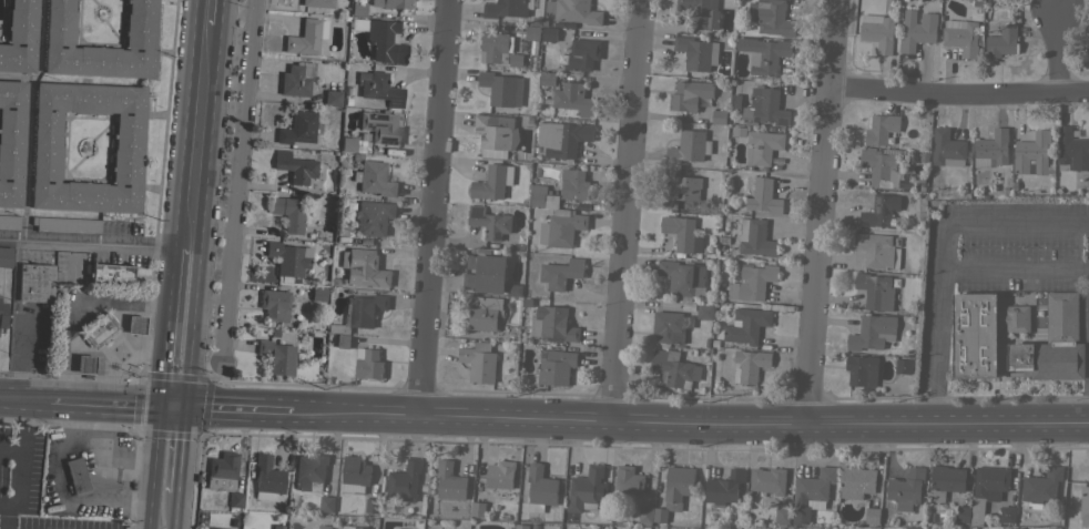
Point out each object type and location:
building: (317, 3)
building: (390, 3)
building: (506, 8)
building: (357, 9)
building: (572, 11)
road: (206, 12)
building: (701, 13)
building: (771, 17)
building: (917, 29)
building: (877, 31)
building: (531, 32)
building: (548, 33)
building: (19, 37)
building: (306, 37)
building: (961, 37)
building: (139, 39)
building: (381, 39)
building: (1000, 41)
building: (495, 47)
building: (695, 52)
road: (1054, 52)
building: (764, 53)
building: (582, 54)
building: (547, 78)
building: (296, 79)
building: (378, 88)
building: (500, 88)
building: (689, 94)
road: (960, 94)
building: (332, 98)
building: (572, 99)
rooftop solar panel: (390, 100)
building: (763, 105)
building: (719, 116)
rooftop solar panel: (781, 121)
rooftop solar panel: (367, 124)
building: (380, 126)
building: (297, 128)
building: (883, 130)
building: (496, 131)
road: (196, 136)
building: (562, 138)
building: (11, 141)
building: (347, 144)
building: (689, 146)
building: (47, 147)
building: (762, 147)
building: (946, 149)
building: (991, 149)
building: (1072, 149)
building: (1030, 151)
building: (294, 166)
building: (882, 169)
building: (372, 177)
building: (492, 182)
building: (573, 184)
road: (233, 185)
building: (681, 193)
building: (760, 195)
building: (541, 196)
road: (432, 207)
building: (881, 211)
road: (624, 212)
building: (287, 213)
road: (824, 214)
building: (373, 217)
building: (9, 222)
building: (489, 223)
building: (64, 224)
building: (563, 227)
building: (679, 231)
building: (754, 237)
road: (93, 241)
building: (877, 250)
road: (944, 252)
building: (4, 256)
building: (288, 257)
building: (365, 267)
road: (1016, 268)
building: (560, 272)
building: (486, 273)
building: (111, 275)
road: (184, 277)
building: (682, 277)
building: (37, 282)
building: (751, 282)
building: (875, 291)
building: (59, 292)
building: (317, 293)
building: (274, 304)
road: (81, 305)
building: (482, 311)
building: (704, 311)
building: (2, 313)
building: (359, 315)
building: (134, 324)
building: (552, 324)
building: (746, 324)
building: (670, 325)
building: (100, 330)
building: (872, 332)
building: (980, 332)
building: (1051, 344)
road: (113, 353)
road: (162, 353)
road: (187, 355)
building: (276, 356)
road: (20, 358)
building: (478, 360)
building: (368, 363)
building: (84, 364)
building: (750, 364)
building: (903, 365)
building: (554, 366)
building: (672, 368)
building: (861, 368)
road: (23, 403)
road: (113, 406)
traffic signals: (157, 407)
traffic signals: (181, 407)
road: (236, 409)
road: (690, 426)
road: (176, 449)
road: (14, 450)
road: (28, 461)
building: (222, 466)
road: (151, 467)
building: (309, 471)
building: (354, 474)
building: (266, 477)
building: (500, 478)
building: (85, 479)
building: (628, 479)
building: (767, 479)
building: (404, 480)
building: (449, 480)
building: (856, 481)
building: (945, 481)
building: (990, 481)
building: (1041, 486)
building: (723, 487)
building: (813, 487)
building: (539, 488)
building: (905, 488)
building: (587, 489)
building: (674, 490)
building: (235, 499)
building: (326, 503)
building: (372, 505)
building: (1083, 507)
building: (478, 508)
road: (4, 510)
road: (171, 510)
building: (976, 511)
building: (961, 512)
building: (1007, 513)
building: (644, 515)
building: (782, 515)
building: (872, 515)
road: (10, 521)
building: (521, 526)
building: (277, 527)
building: (324, 527)
building: (359, 527)
building: (644, 527)
building: (915, 527)
building: (1055, 527)
building: (211, 528)
building: (346, 528)
building: (397, 528)

